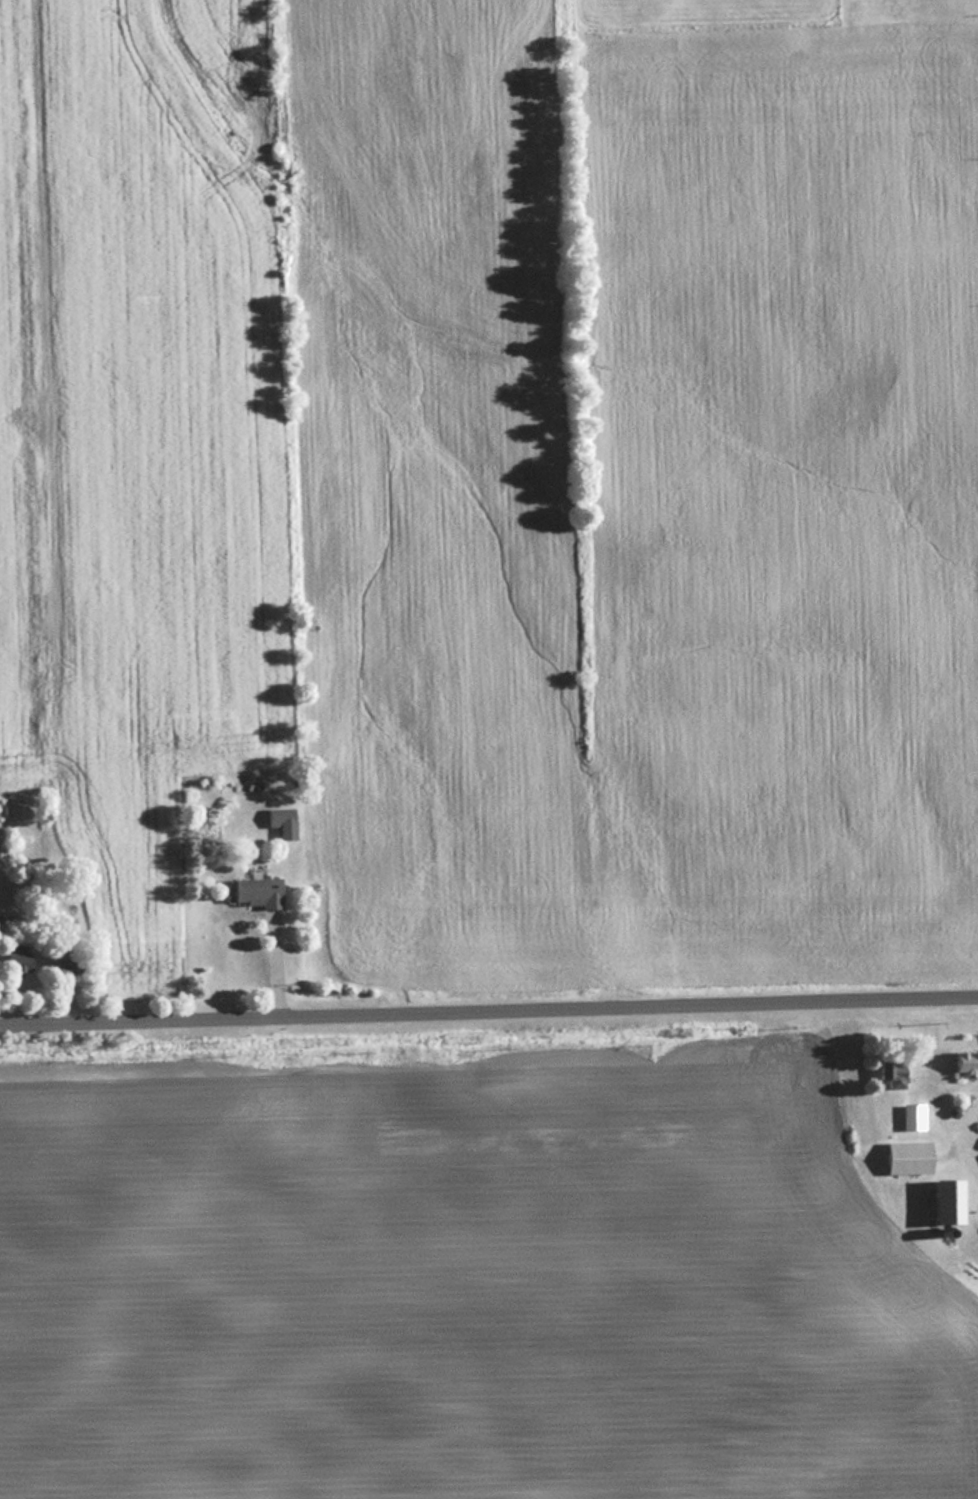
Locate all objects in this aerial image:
building: (281, 821)
building: (253, 891)
building: (14, 960)
road: (276, 961)
road: (488, 1013)
building: (961, 1060)
building: (888, 1072)
building: (908, 1116)
building: (903, 1157)
building: (938, 1200)

